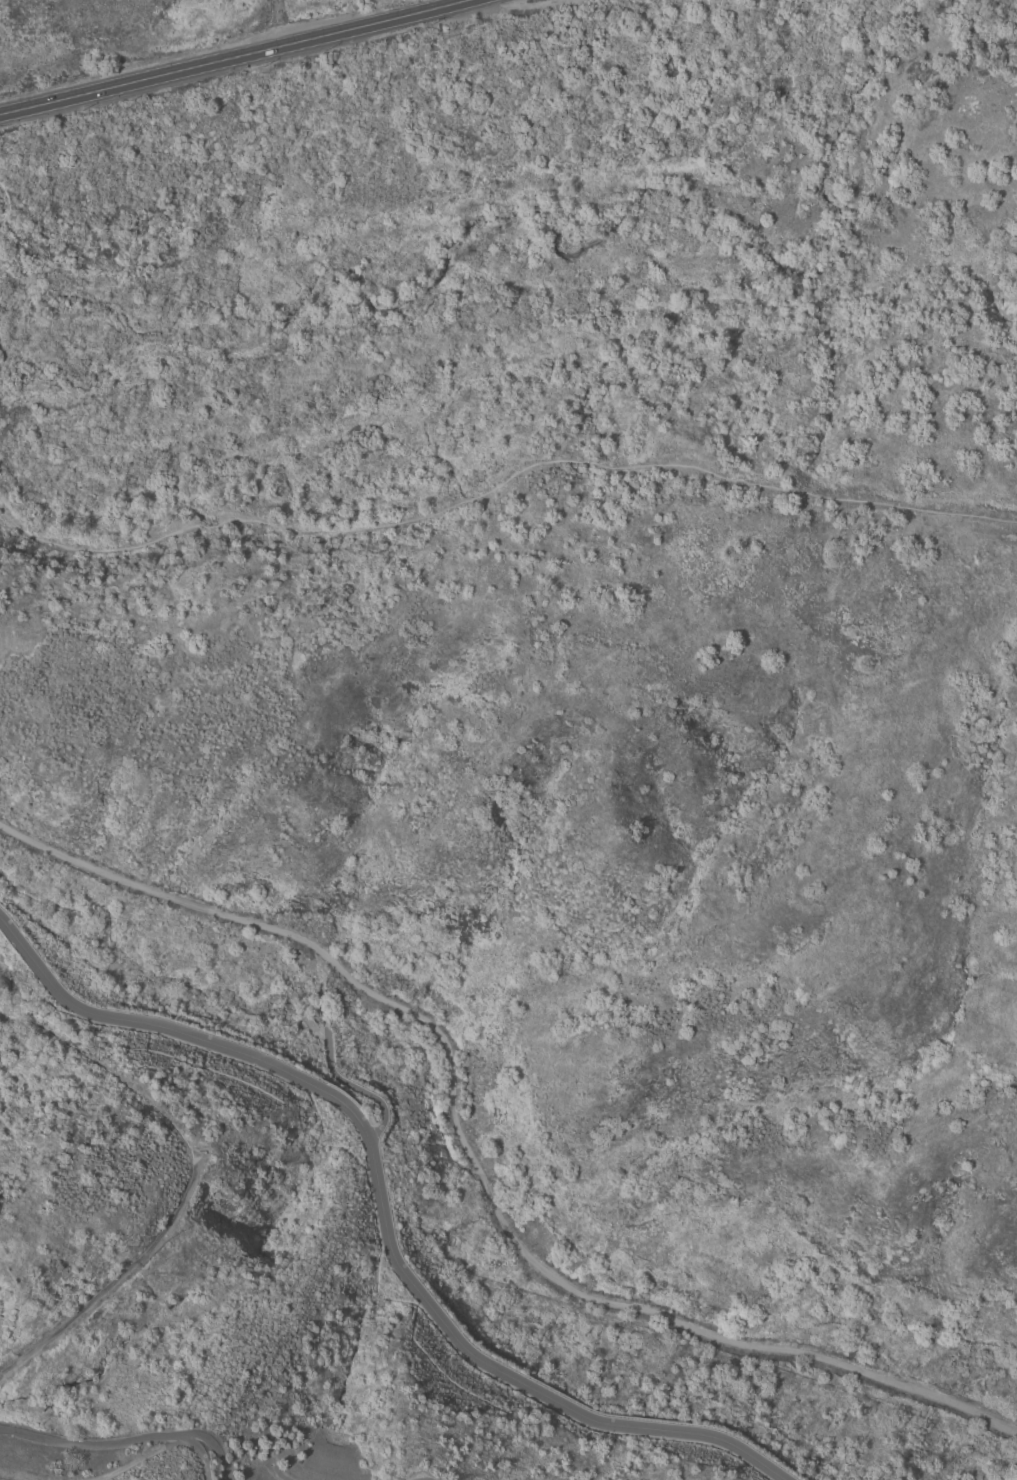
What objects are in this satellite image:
road: (548, 1)
road: (239, 58)
road: (7, 206)
road: (3, 362)
road: (475, 1167)
road: (383, 1207)

